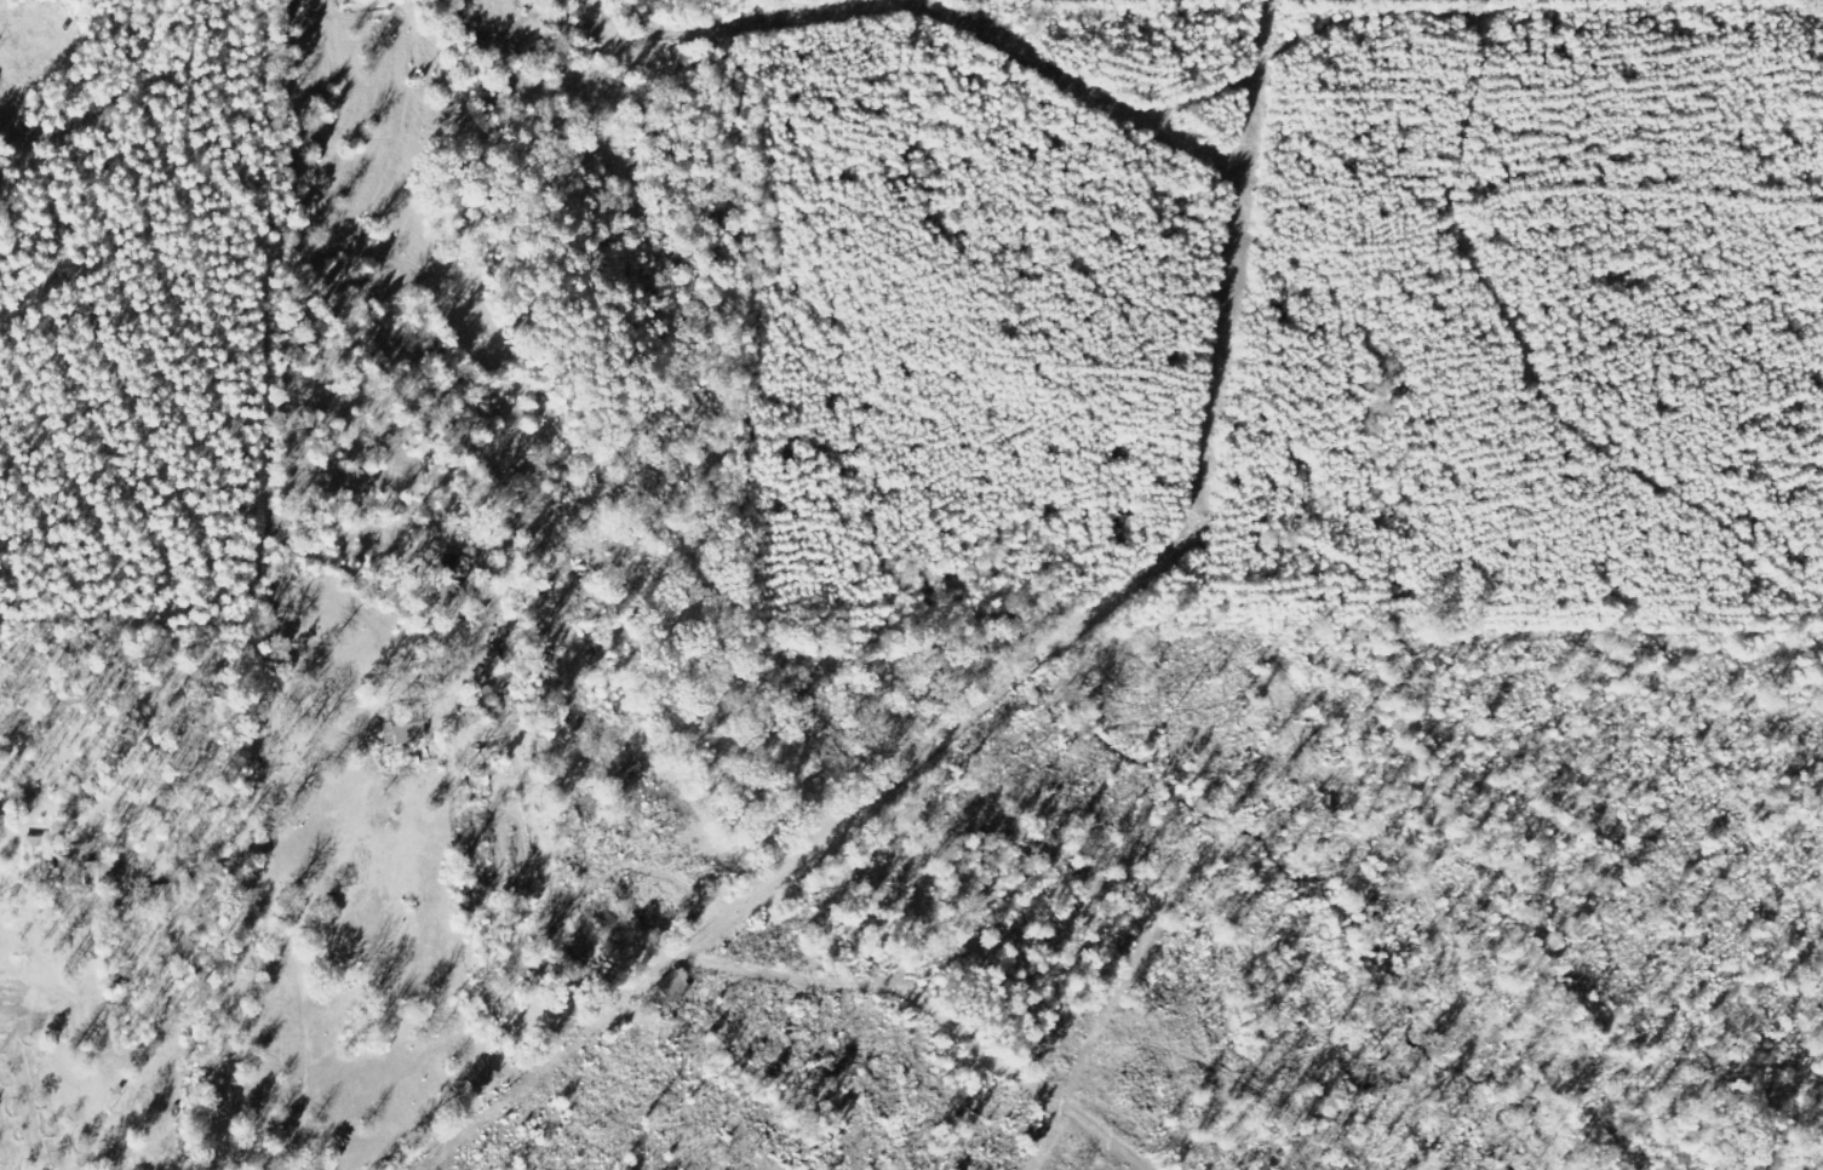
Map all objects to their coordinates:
road: (726, 16)
road: (1213, 59)
road: (51, 281)
building: (458, 575)
road: (436, 688)
building: (406, 724)
building: (36, 856)
building: (164, 894)
building: (676, 983)

